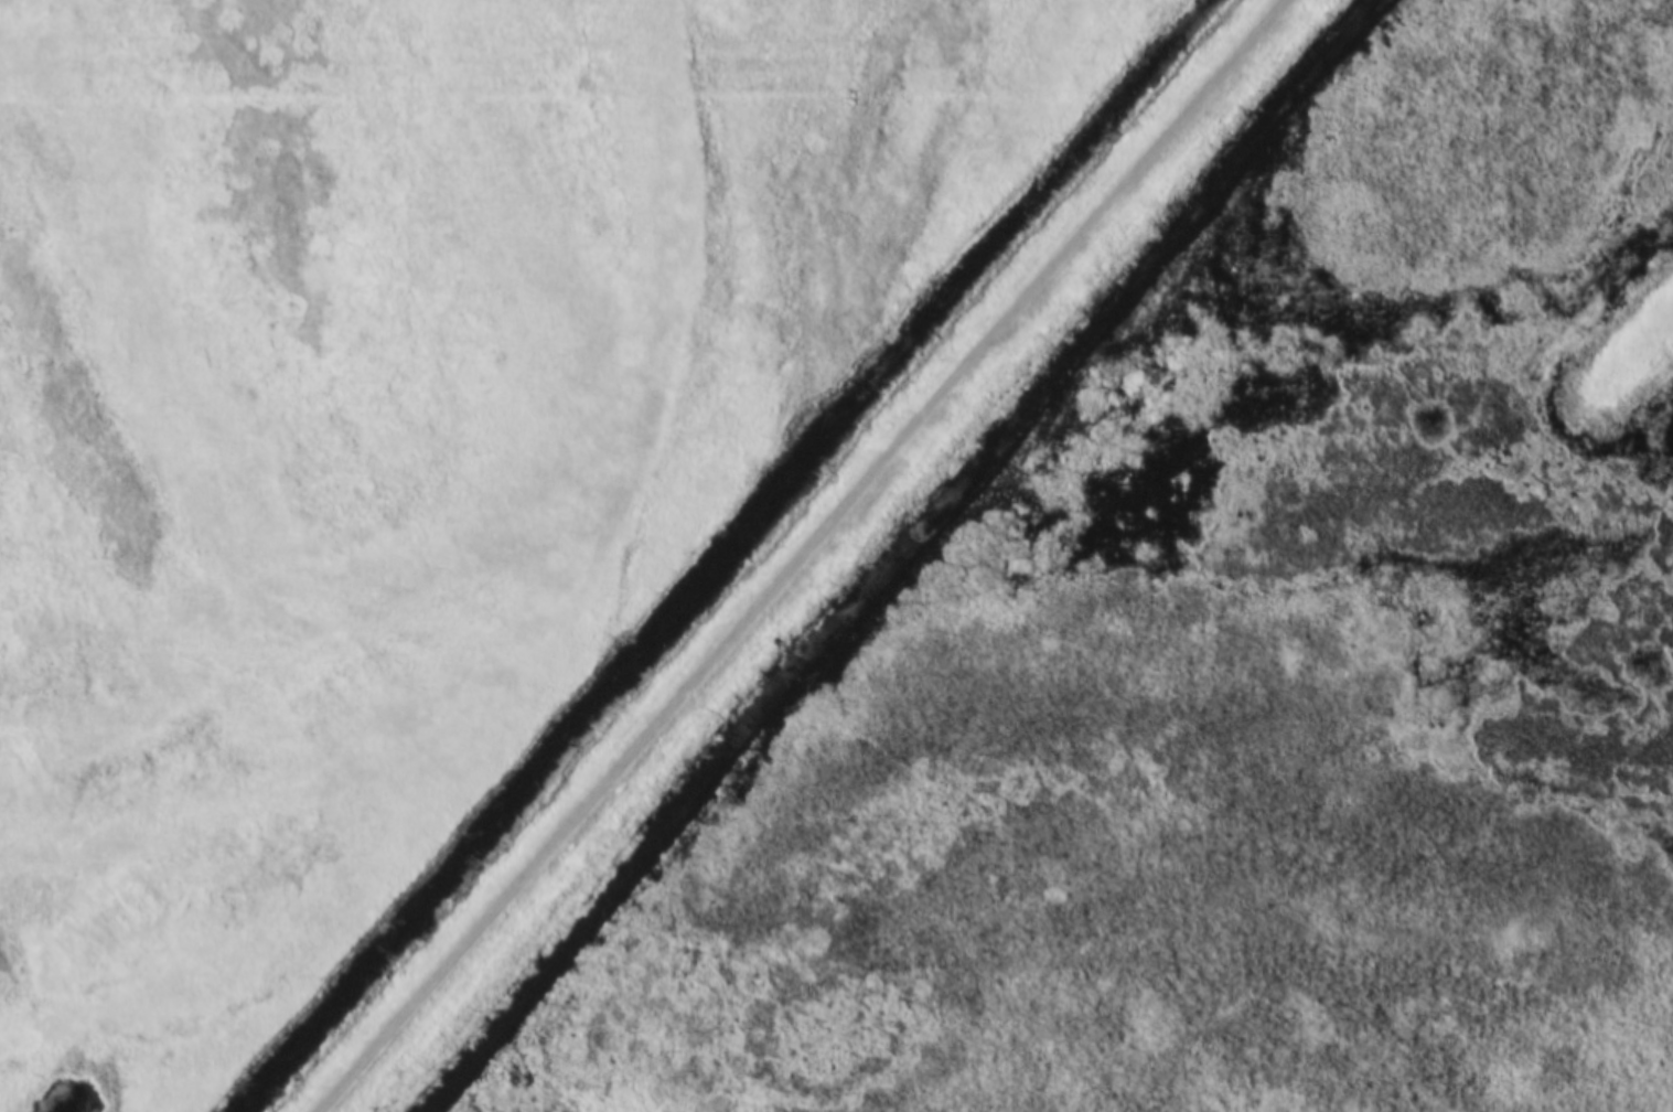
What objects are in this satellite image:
road: (798, 555)
dam: (834, 563)

